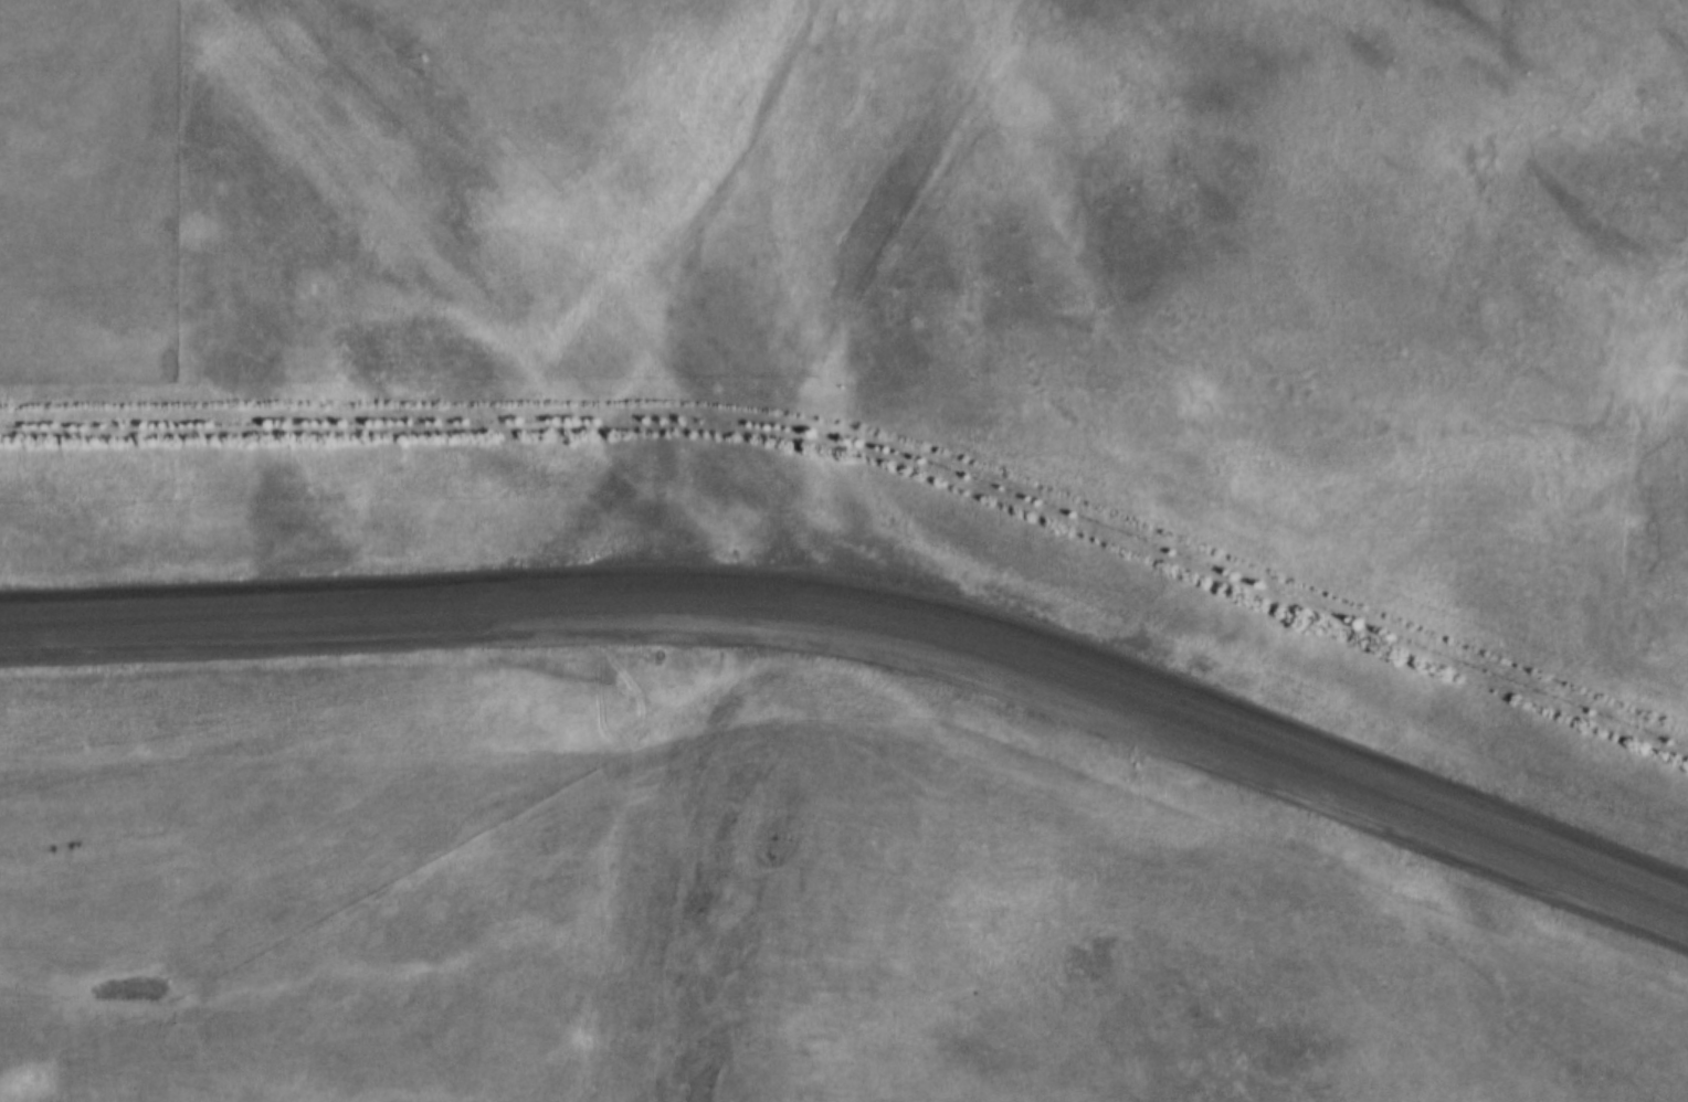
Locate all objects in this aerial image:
road: (868, 631)

